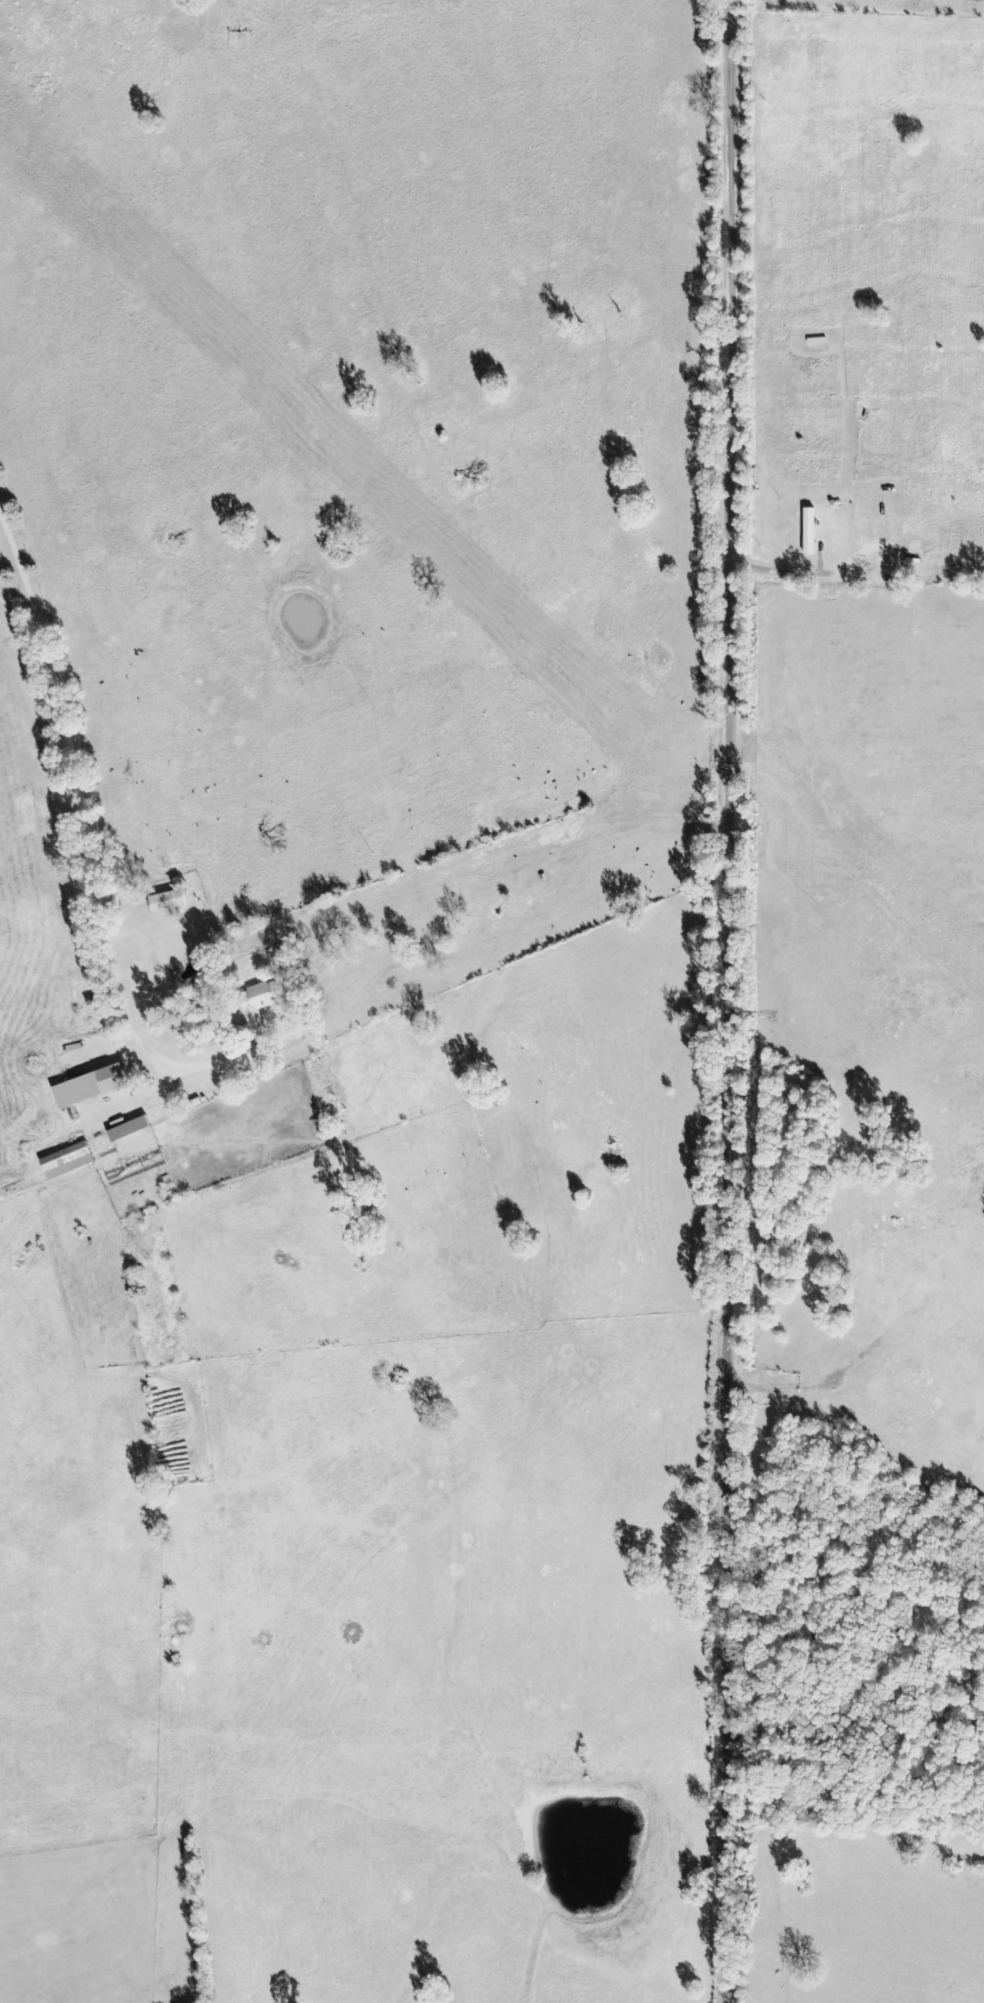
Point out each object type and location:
building: (811, 532)
road: (67, 758)
building: (170, 902)
road: (735, 1001)
building: (262, 1007)
building: (95, 1087)
building: (132, 1130)
building: (70, 1162)

